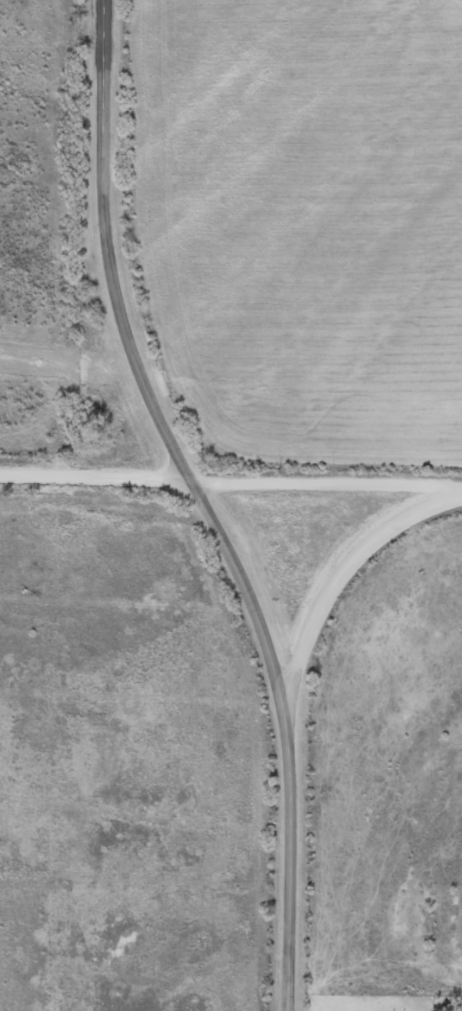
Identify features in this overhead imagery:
road: (230, 481)
road: (202, 504)
road: (330, 583)
building: (391, 1004)

